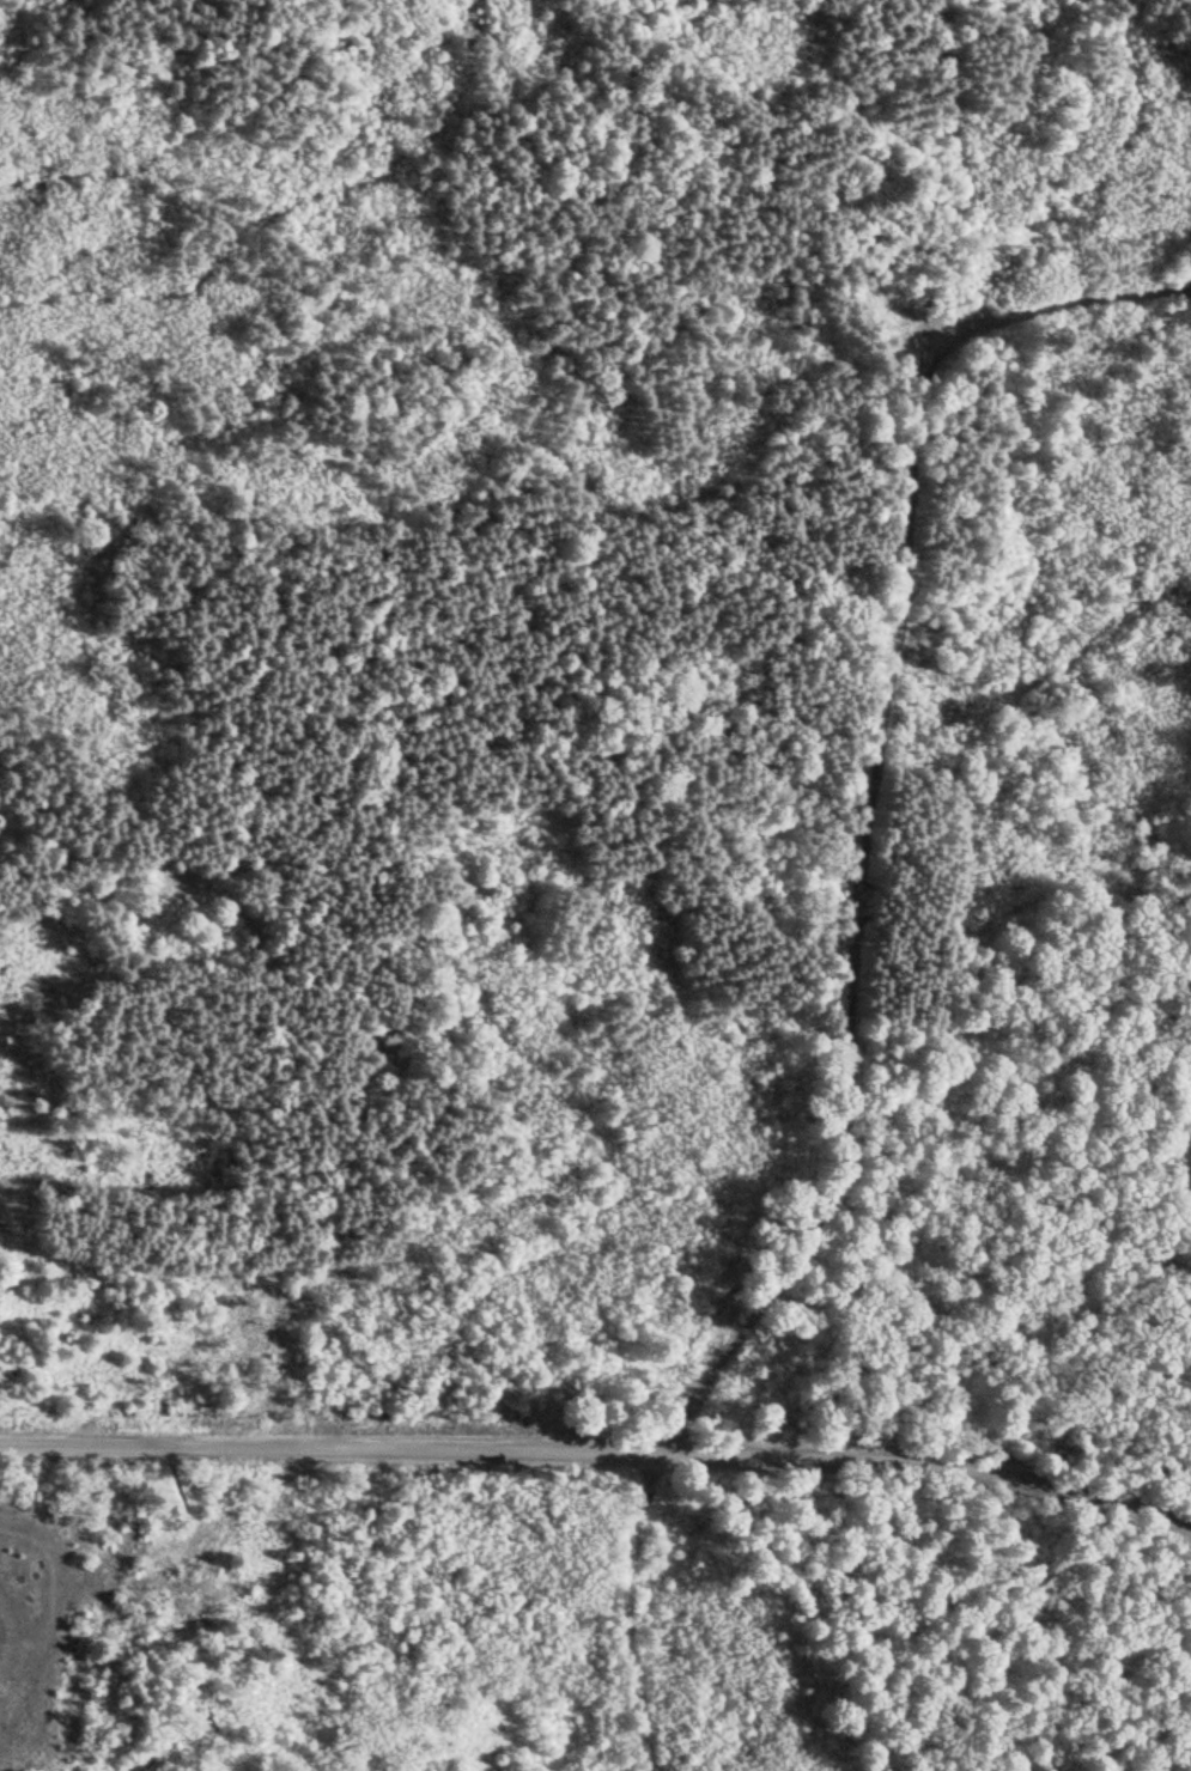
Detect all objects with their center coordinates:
road: (1050, 306)
road: (874, 750)
road: (330, 1446)
road: (929, 1460)
road: (621, 1608)

